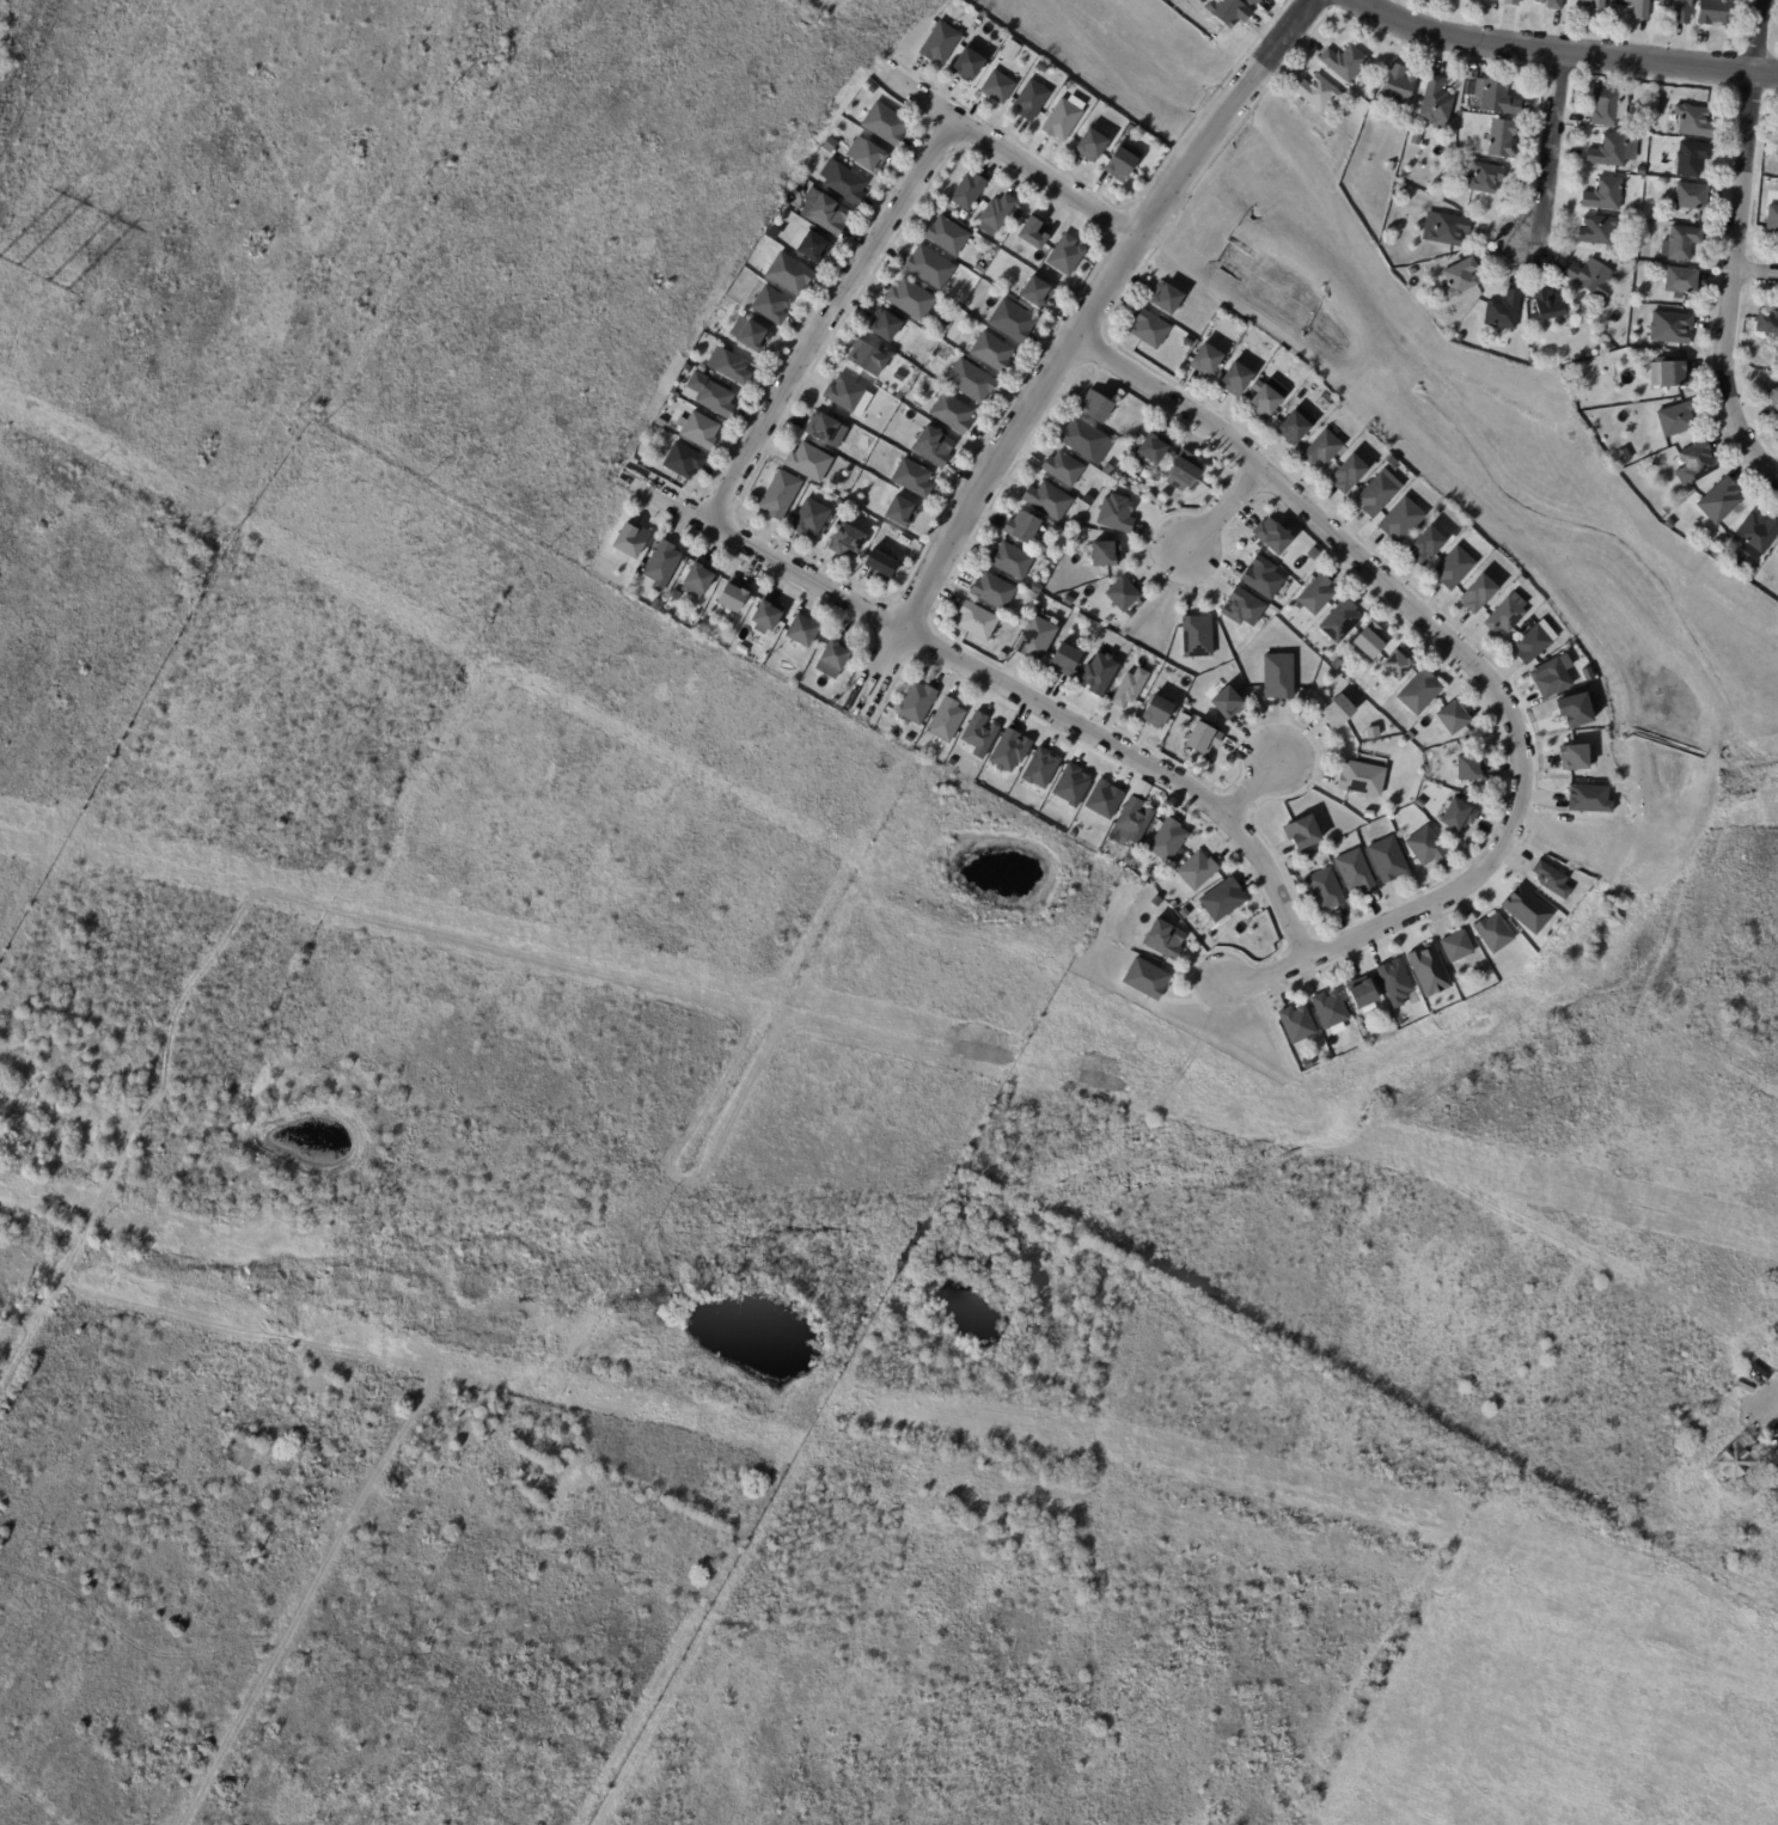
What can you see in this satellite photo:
building: (1466, 0)
building: (1253, 2)
building: (1511, 2)
building: (1550, 4)
building: (1594, 6)
building: (1638, 8)
building: (1678, 10)
building: (1227, 12)
building: (1717, 13)
building: (973, 14)
park: (875, 17)
building: (939, 43)
building: (1009, 50)
road: (1560, 54)
building: (1344, 63)
building: (966, 66)
building: (1478, 78)
building: (996, 86)
building: (1398, 88)
building: (1318, 93)
building: (1029, 99)
building: (1498, 99)
building: (1297, 104)
building: (1436, 105)
building: (1608, 108)
building: (1063, 116)
building: (884, 123)
building: (1693, 123)
building: (1644, 128)
building: (1129, 129)
building: (1501, 140)
building: (1415, 141)
building: (830, 145)
building: (1089, 145)
road: (1548, 147)
building: (1613, 152)
building: (1777, 152)
building: (866, 154)
road: (1006, 157)
building: (1692, 159)
building: (1123, 161)
building: (1640, 172)
building: (1484, 179)
building: (842, 181)
building: (801, 183)
building: (1399, 188)
building: (966, 191)
building: (1605, 196)
building: (1690, 197)
building: (823, 212)
building: (995, 214)
building: (1771, 221)
building: (1444, 230)
building: (1596, 231)
building: (1032, 233)
building: (946, 236)
building: (1682, 244)
building: (812, 246)
building: (1633, 248)
road: (1734, 248)
building: (1064, 255)
building: (928, 267)
building: (787, 273)
road: (1754, 273)
building: (1588, 277)
power tower: (28, 279)
building: (1460, 279)
building: (1681, 281)
building: (1037, 293)
building: (1165, 298)
building: (910, 300)
building: (770, 305)
building: (1547, 306)
building: (1503, 313)
road: (830, 321)
building: (1010, 321)
building: (1767, 325)
building: (885, 326)
building: (1149, 329)
building: (1670, 329)
building: (751, 336)
building: (931, 342)
road: (1064, 348)
building: (990, 352)
building: (861, 355)
building: (1204, 360)
building: (727, 366)
building: (1669, 376)
building: (899, 377)
building: (1234, 378)
building: (970, 382)
building: (1294, 389)
building: (843, 392)
building: (899, 396)
building: (715, 399)
building: (1264, 401)
building: (1773, 401)
building: (1095, 407)
building: (951, 414)
building: (1675, 421)
building: (1295, 427)
building: (820, 428)
building: (699, 431)
building: (1084, 440)
building: (933, 447)
building: (1153, 448)
building: (1321, 448)
building: (1391, 462)
building: (683, 463)
building: (808, 463)
building: (1695, 465)
building: (1062, 469)
building: (1106, 469)
building: (1183, 471)
building: (1348, 474)
building: (911, 478)
building: (778, 495)
building: (1376, 495)
building: (1083, 500)
building: (1046, 501)
building: (838, 503)
building: (1719, 503)
road: (1221, 507)
building: (1666, 511)
building: (899, 512)
building: (1114, 513)
building: (809, 519)
building: (1401, 520)
building: (1669, 525)
building: (1021, 529)
building: (1756, 535)
building: (1271, 536)
building: (903, 539)
building: (630, 541)
building: (845, 542)
building: (1424, 547)
building: (1100, 554)
building: (1312, 554)
building: (1777, 554)
building: (1717, 556)
building: (1009, 561)
building: (661, 563)
building: (880, 566)
building: (1454, 568)
building: (698, 576)
building: (1260, 578)
building: (1035, 588)
building: (991, 591)
building: (1049, 592)
building: (1122, 594)
building: (1479, 594)
building: (1316, 596)
building: (732, 597)
building: (1241, 608)
building: (766, 616)
building: (1504, 616)
building: (1339, 621)
building: (974, 622)
building: (801, 631)
building: (1196, 636)
building: (1565, 637)
building: (1035, 639)
building: (1369, 641)
building: (1534, 642)
building: (741, 651)
building: (833, 653)
building: (1063, 660)
building: (1397, 664)
building: (1337, 665)
road: (1479, 672)
building: (1096, 673)
building: (1550, 676)
building: (1277, 677)
road: (998, 683)
building: (1129, 688)
building: (1419, 692)
park: (1731, 698)
building: (1226, 703)
building: (916, 704)
building: (1186, 706)
building: (1576, 709)
building: (1337, 712)
building: (1156, 713)
building: (1453, 718)
building: (946, 721)
building: (1180, 722)
building: (978, 734)
building: (1202, 739)
building: (1461, 745)
building: (1008, 750)
building: (1574, 757)
building: (1470, 768)
building: (1040, 769)
road: (1264, 777)
building: (1361, 779)
building: (1070, 786)
building: (1139, 789)
building: (1102, 799)
building: (1589, 799)
building: (1419, 804)
building: (1458, 816)
building: (1131, 820)
building: (1301, 834)
building: (1167, 841)
building: (1424, 847)
building: (1307, 856)
building: (1387, 861)
building: (1196, 872)
building: (1354, 872)
building: (1551, 880)
building: (1325, 890)
building: (1222, 901)
building: (1173, 907)
building: (1525, 909)
building: (1187, 910)
building: (1493, 934)
building: (1162, 940)
building: (1455, 947)
building: (1426, 970)
building: (1145, 979)
building: (1394, 983)
building: (1362, 996)
building: (1330, 1011)
building: (1377, 1018)
building: (1296, 1025)
building: (1360, 1029)
building: (1339, 1031)
building: (1295, 1049)
road: (36, 1326)
building: (1733, 1463)

